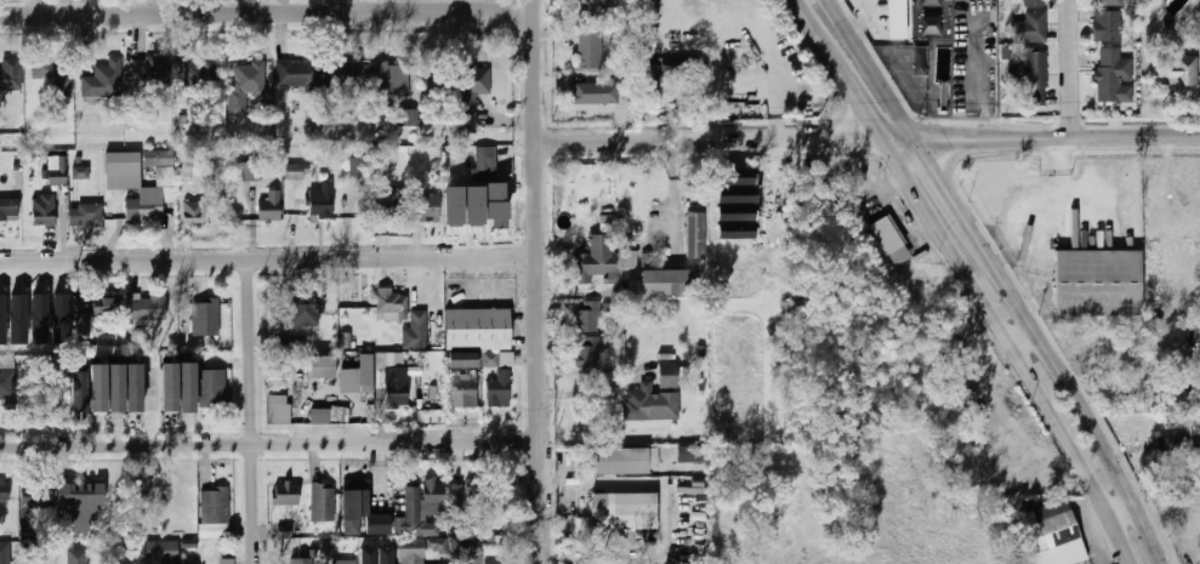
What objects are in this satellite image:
building: (616, 0)
building: (1035, 2)
building: (1108, 2)
building: (573, 12)
road: (267, 15)
building: (897, 19)
road: (811, 25)
building: (1108, 25)
building: (1029, 28)
building: (591, 49)
road: (1071, 69)
building: (667, 70)
road: (872, 70)
building: (1178, 70)
building: (198, 72)
building: (55, 73)
building: (152, 74)
building: (298, 74)
building: (11, 75)
building: (349, 75)
building: (1031, 76)
building: (1114, 76)
building: (392, 79)
building: (104, 80)
building: (245, 85)
building: (593, 93)
building: (470, 95)
road: (855, 96)
building: (409, 119)
road: (869, 141)
building: (487, 163)
building: (357, 166)
building: (252, 171)
building: (83, 172)
building: (296, 172)
building: (57, 176)
building: (123, 177)
road: (940, 178)
building: (322, 201)
building: (473, 201)
building: (1182, 201)
building: (388, 205)
building: (269, 206)
building: (426, 207)
building: (10, 209)
building: (42, 210)
building: (193, 212)
building: (86, 215)
road: (1050, 227)
building: (887, 235)
building: (694, 237)
road: (1020, 245)
road: (268, 261)
building: (598, 262)
road: (539, 281)
building: (667, 281)
building: (1098, 281)
building: (107, 307)
building: (149, 308)
building: (300, 309)
building: (588, 317)
building: (81, 318)
building: (212, 319)
building: (405, 319)
building: (479, 329)
road: (1029, 346)
road: (1011, 351)
building: (587, 352)
building: (462, 359)
building: (490, 359)
building: (391, 360)
building: (323, 368)
building: (669, 375)
building: (358, 376)
building: (7, 383)
road: (1073, 384)
building: (170, 387)
building: (212, 387)
building: (98, 388)
building: (116, 388)
building: (133, 388)
building: (187, 388)
building: (499, 389)
building: (80, 392)
building: (396, 393)
building: (430, 397)
building: (462, 397)
building: (652, 404)
building: (279, 409)
building: (971, 411)
road: (252, 412)
building: (319, 416)
road: (271, 444)
building: (692, 454)
building: (620, 461)
road: (602, 482)
building: (478, 486)
building: (4, 489)
building: (286, 494)
building: (442, 496)
building: (181, 497)
building: (80, 500)
building: (323, 503)
building: (624, 505)
building: (215, 506)
building: (35, 507)
building: (409, 513)
building: (363, 515)
road: (1127, 519)
building: (1054, 531)
building: (436, 543)
building: (7, 552)
building: (163, 552)
building: (386, 554)
building: (75, 557)
building: (476, 557)
building: (409, 558)
building: (301, 560)
building: (227, 562)
building: (24, 563)
building: (35, 563)
building: (349, 563)
building: (379, 563)

